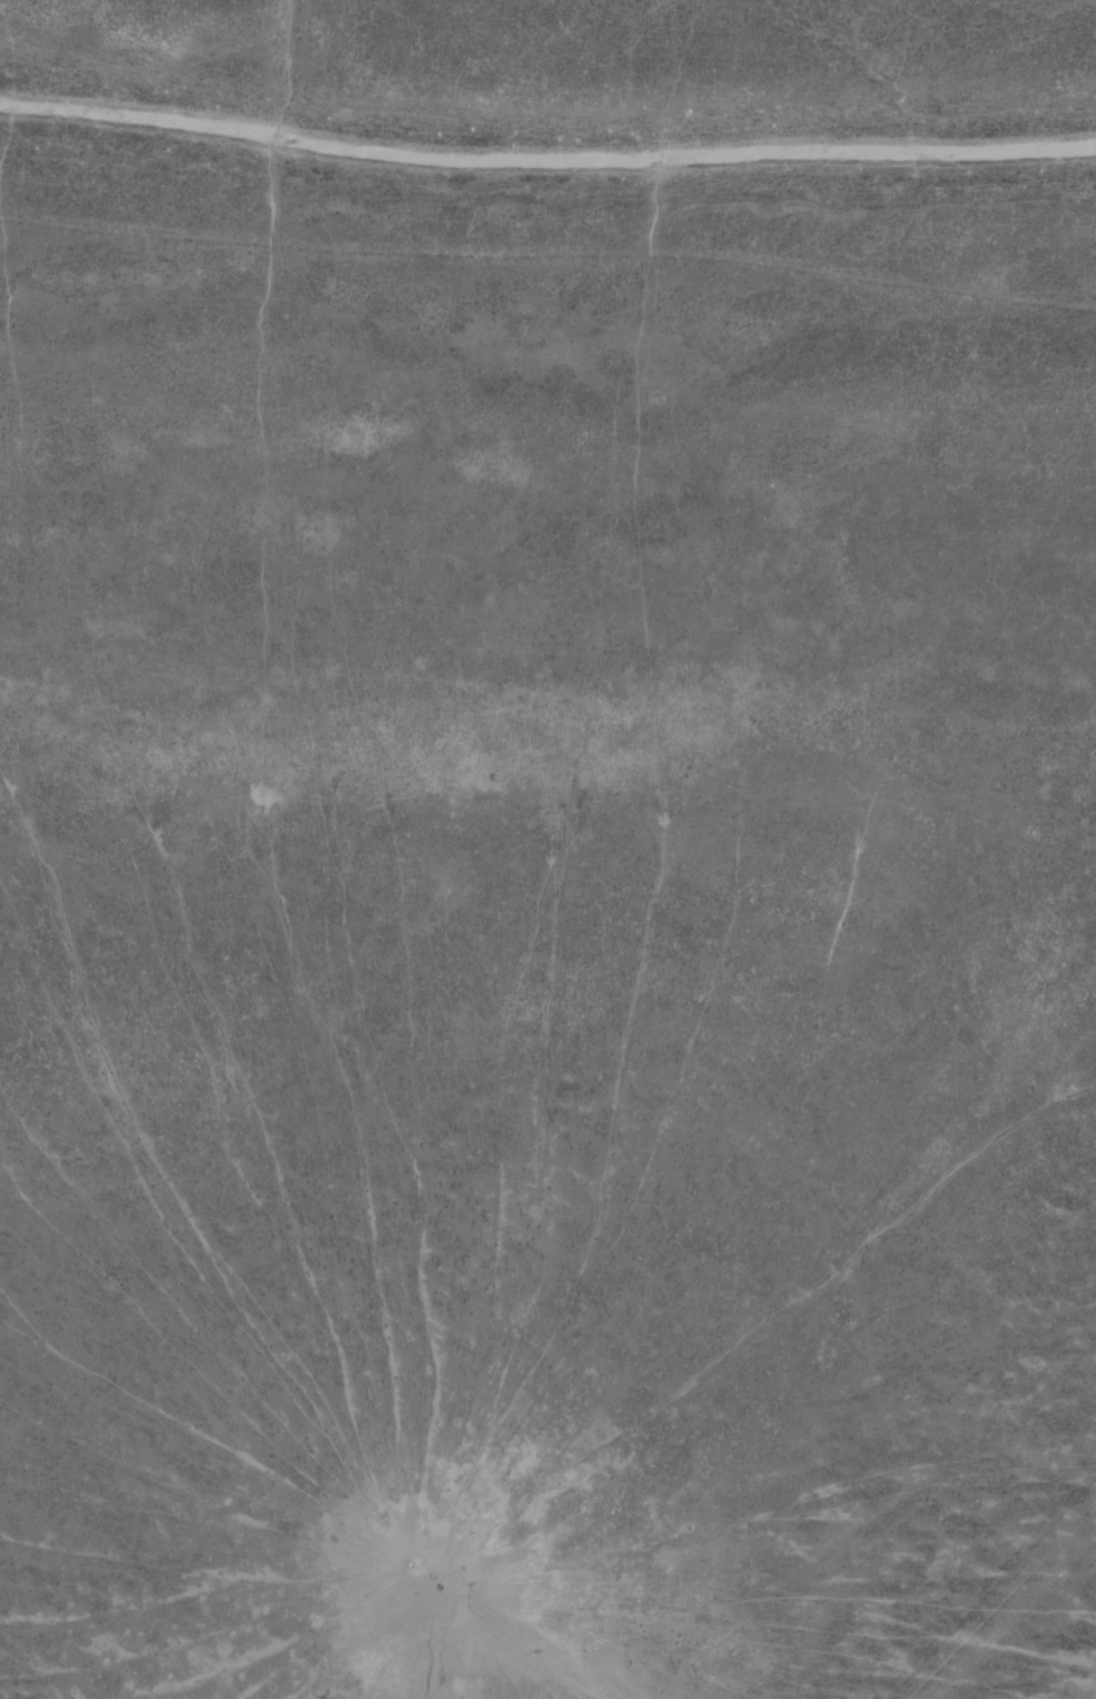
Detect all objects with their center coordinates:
road: (921, 1560)
road: (1046, 1685)

